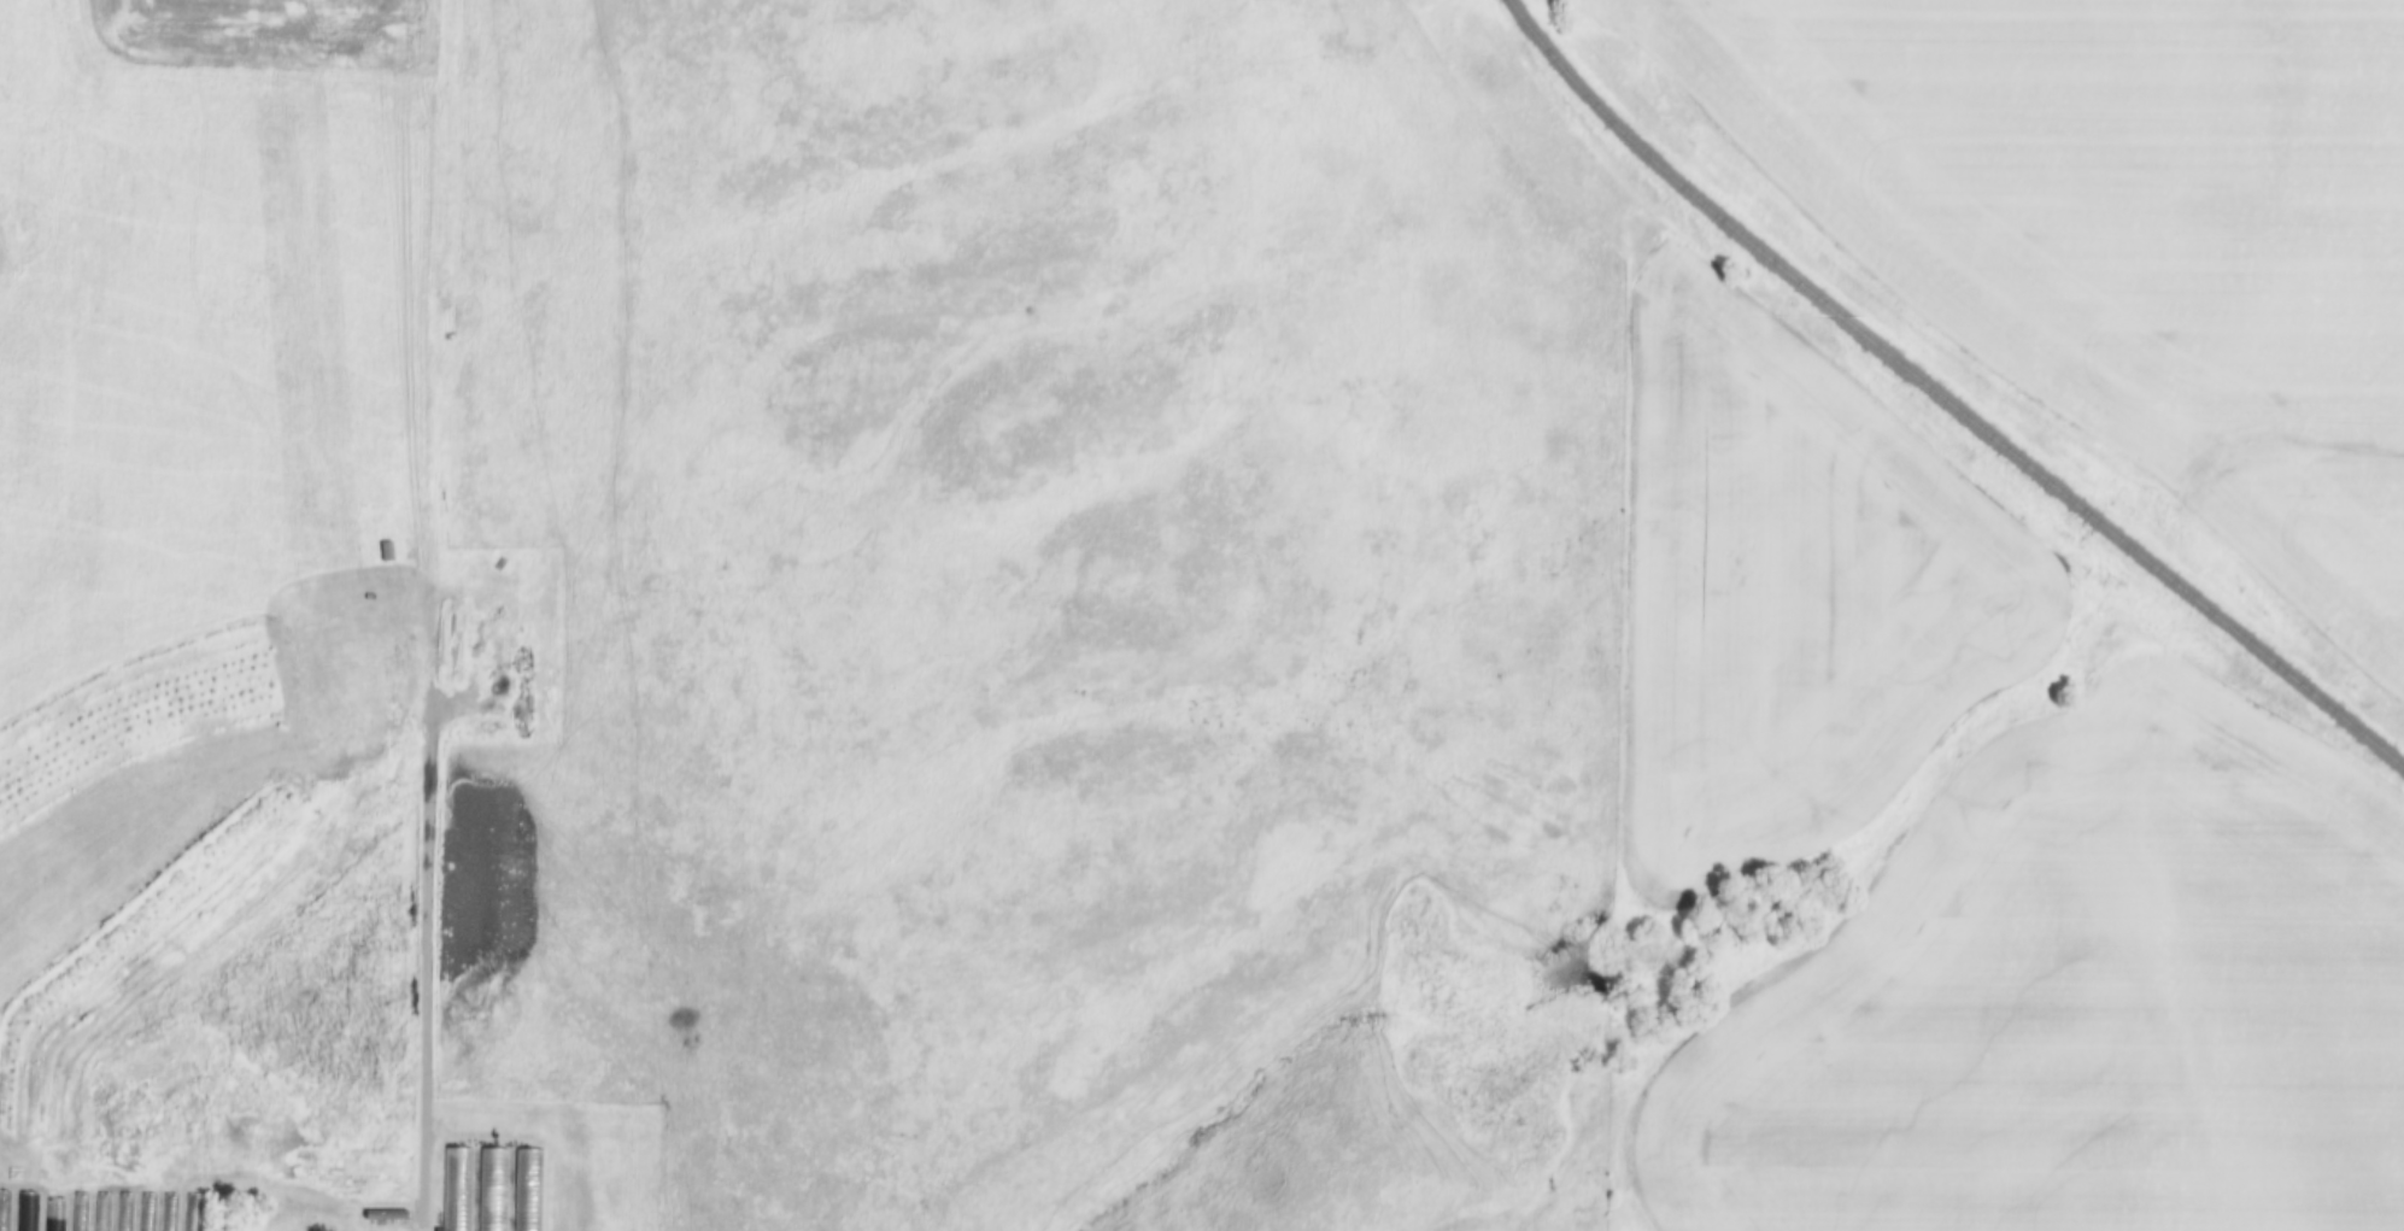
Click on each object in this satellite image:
railway: (1945, 397)
road: (432, 615)
building: (492, 1189)
building: (530, 1189)
building: (4, 1212)
building: (25, 1212)
building: (51, 1229)

